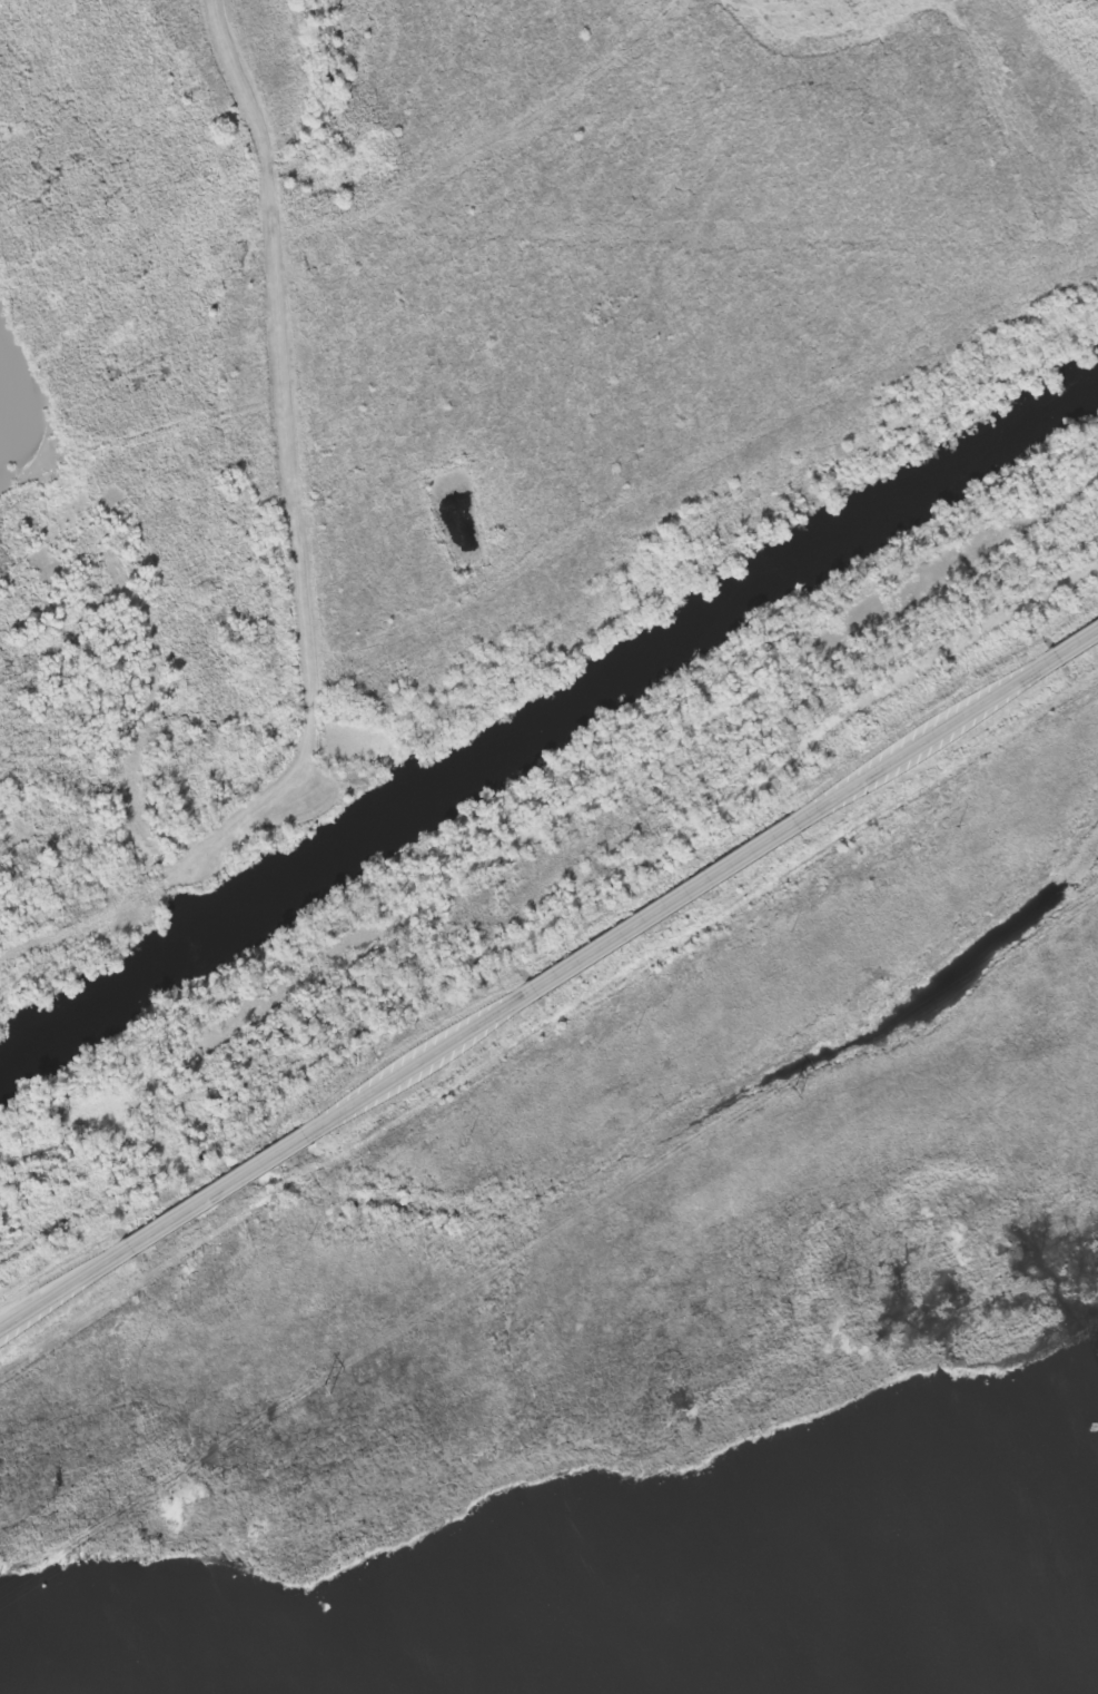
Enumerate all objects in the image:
road: (1075, 643)
road: (928, 738)
road: (666, 905)
road: (421, 1062)
power tower: (797, 1093)
road: (220, 1190)
road: (65, 1289)
power tower: (326, 1391)

